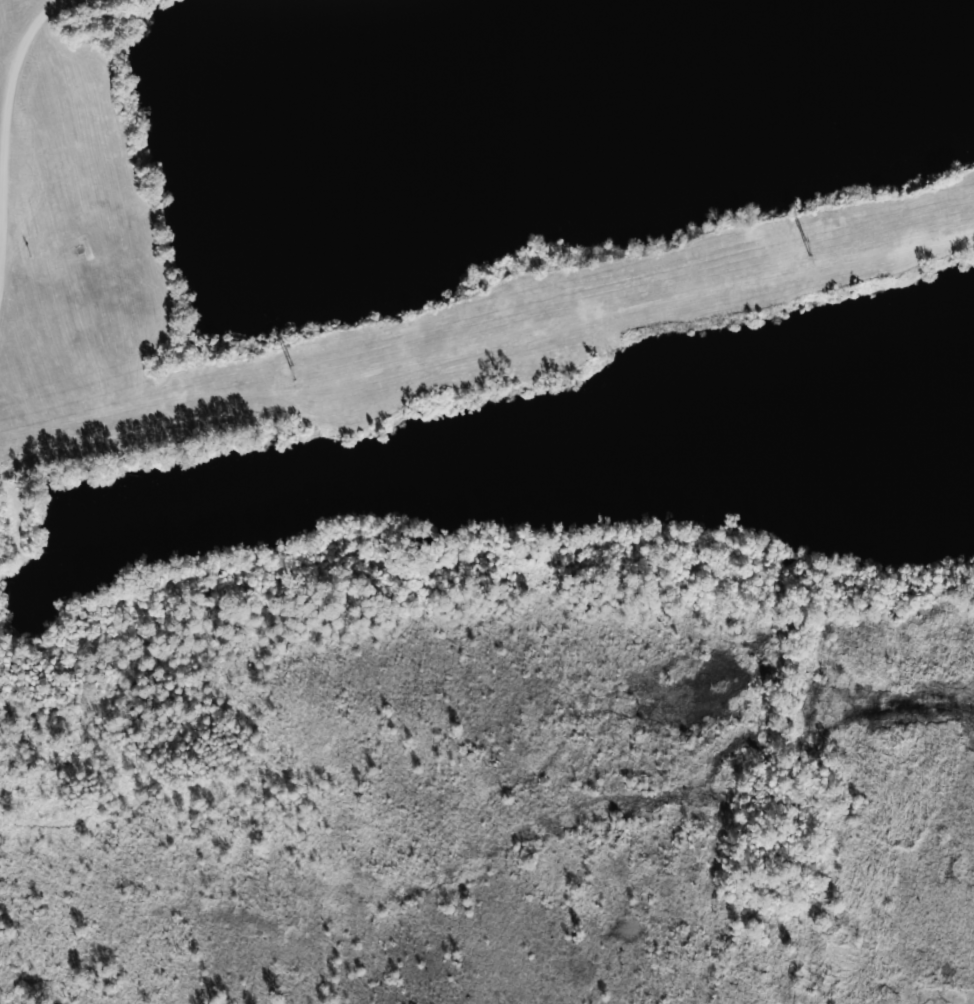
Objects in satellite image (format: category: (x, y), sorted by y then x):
road: (13, 80)
road: (491, 353)

